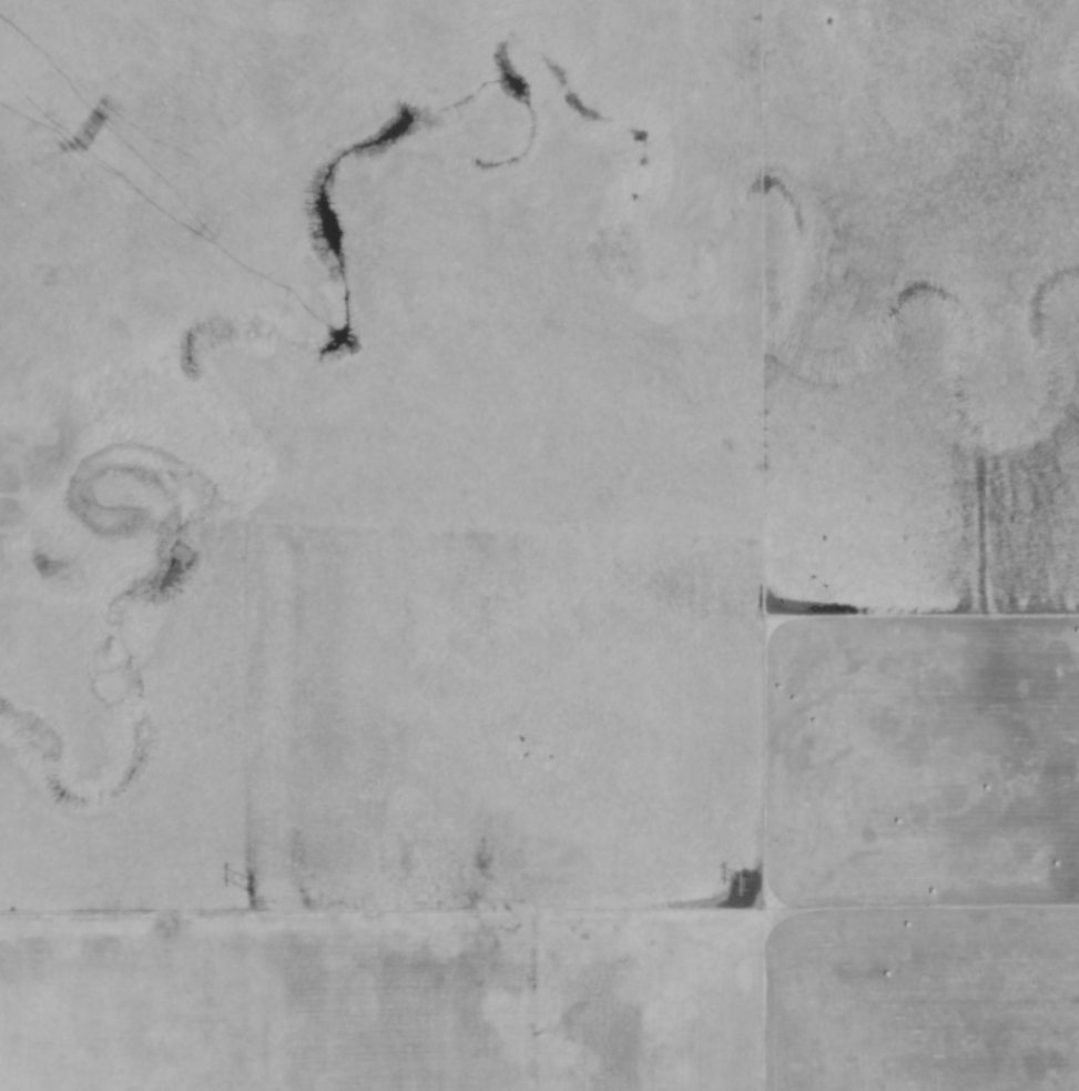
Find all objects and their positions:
power tower: (740, 885)
power tower: (247, 886)

